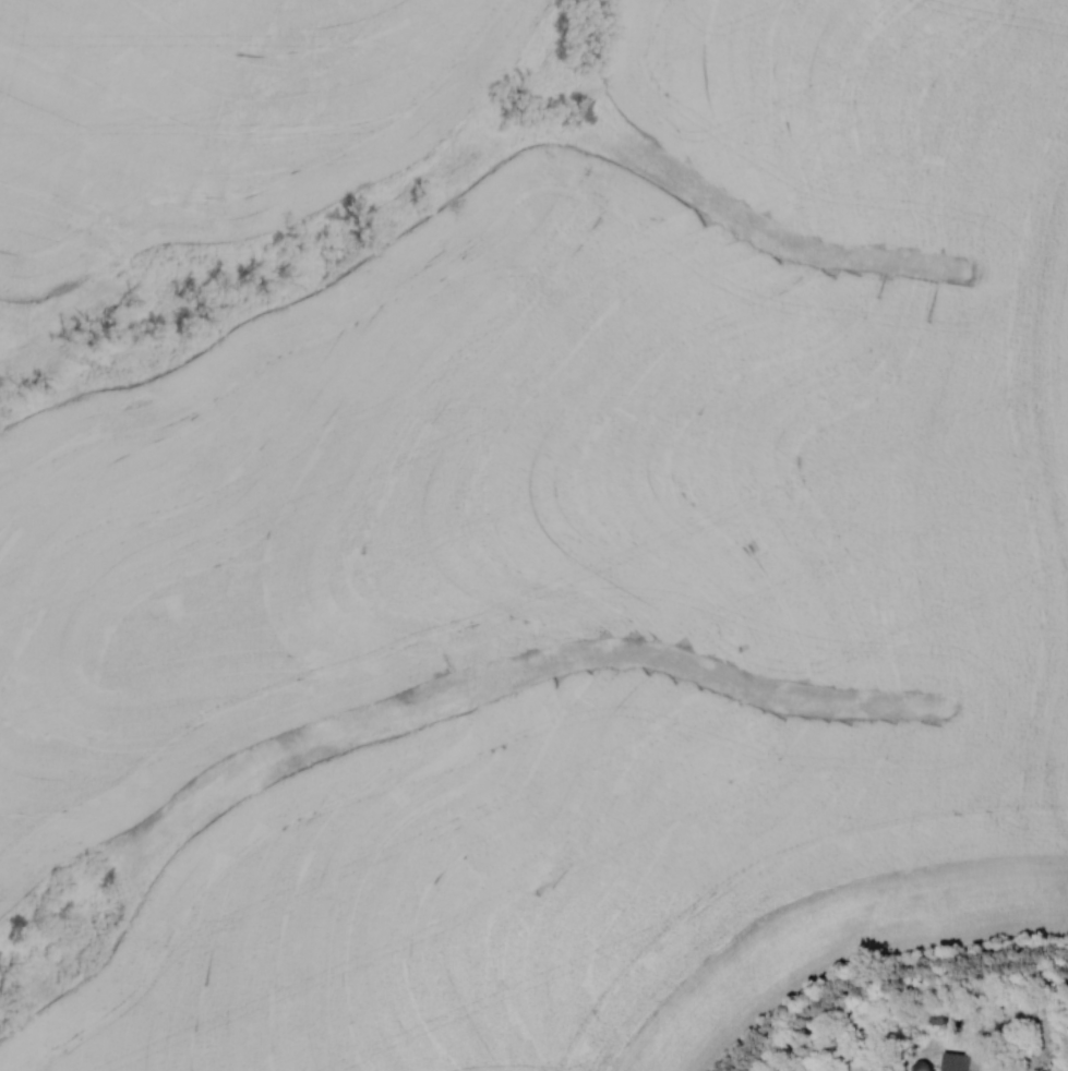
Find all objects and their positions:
building: (956, 1062)
building: (919, 1067)

